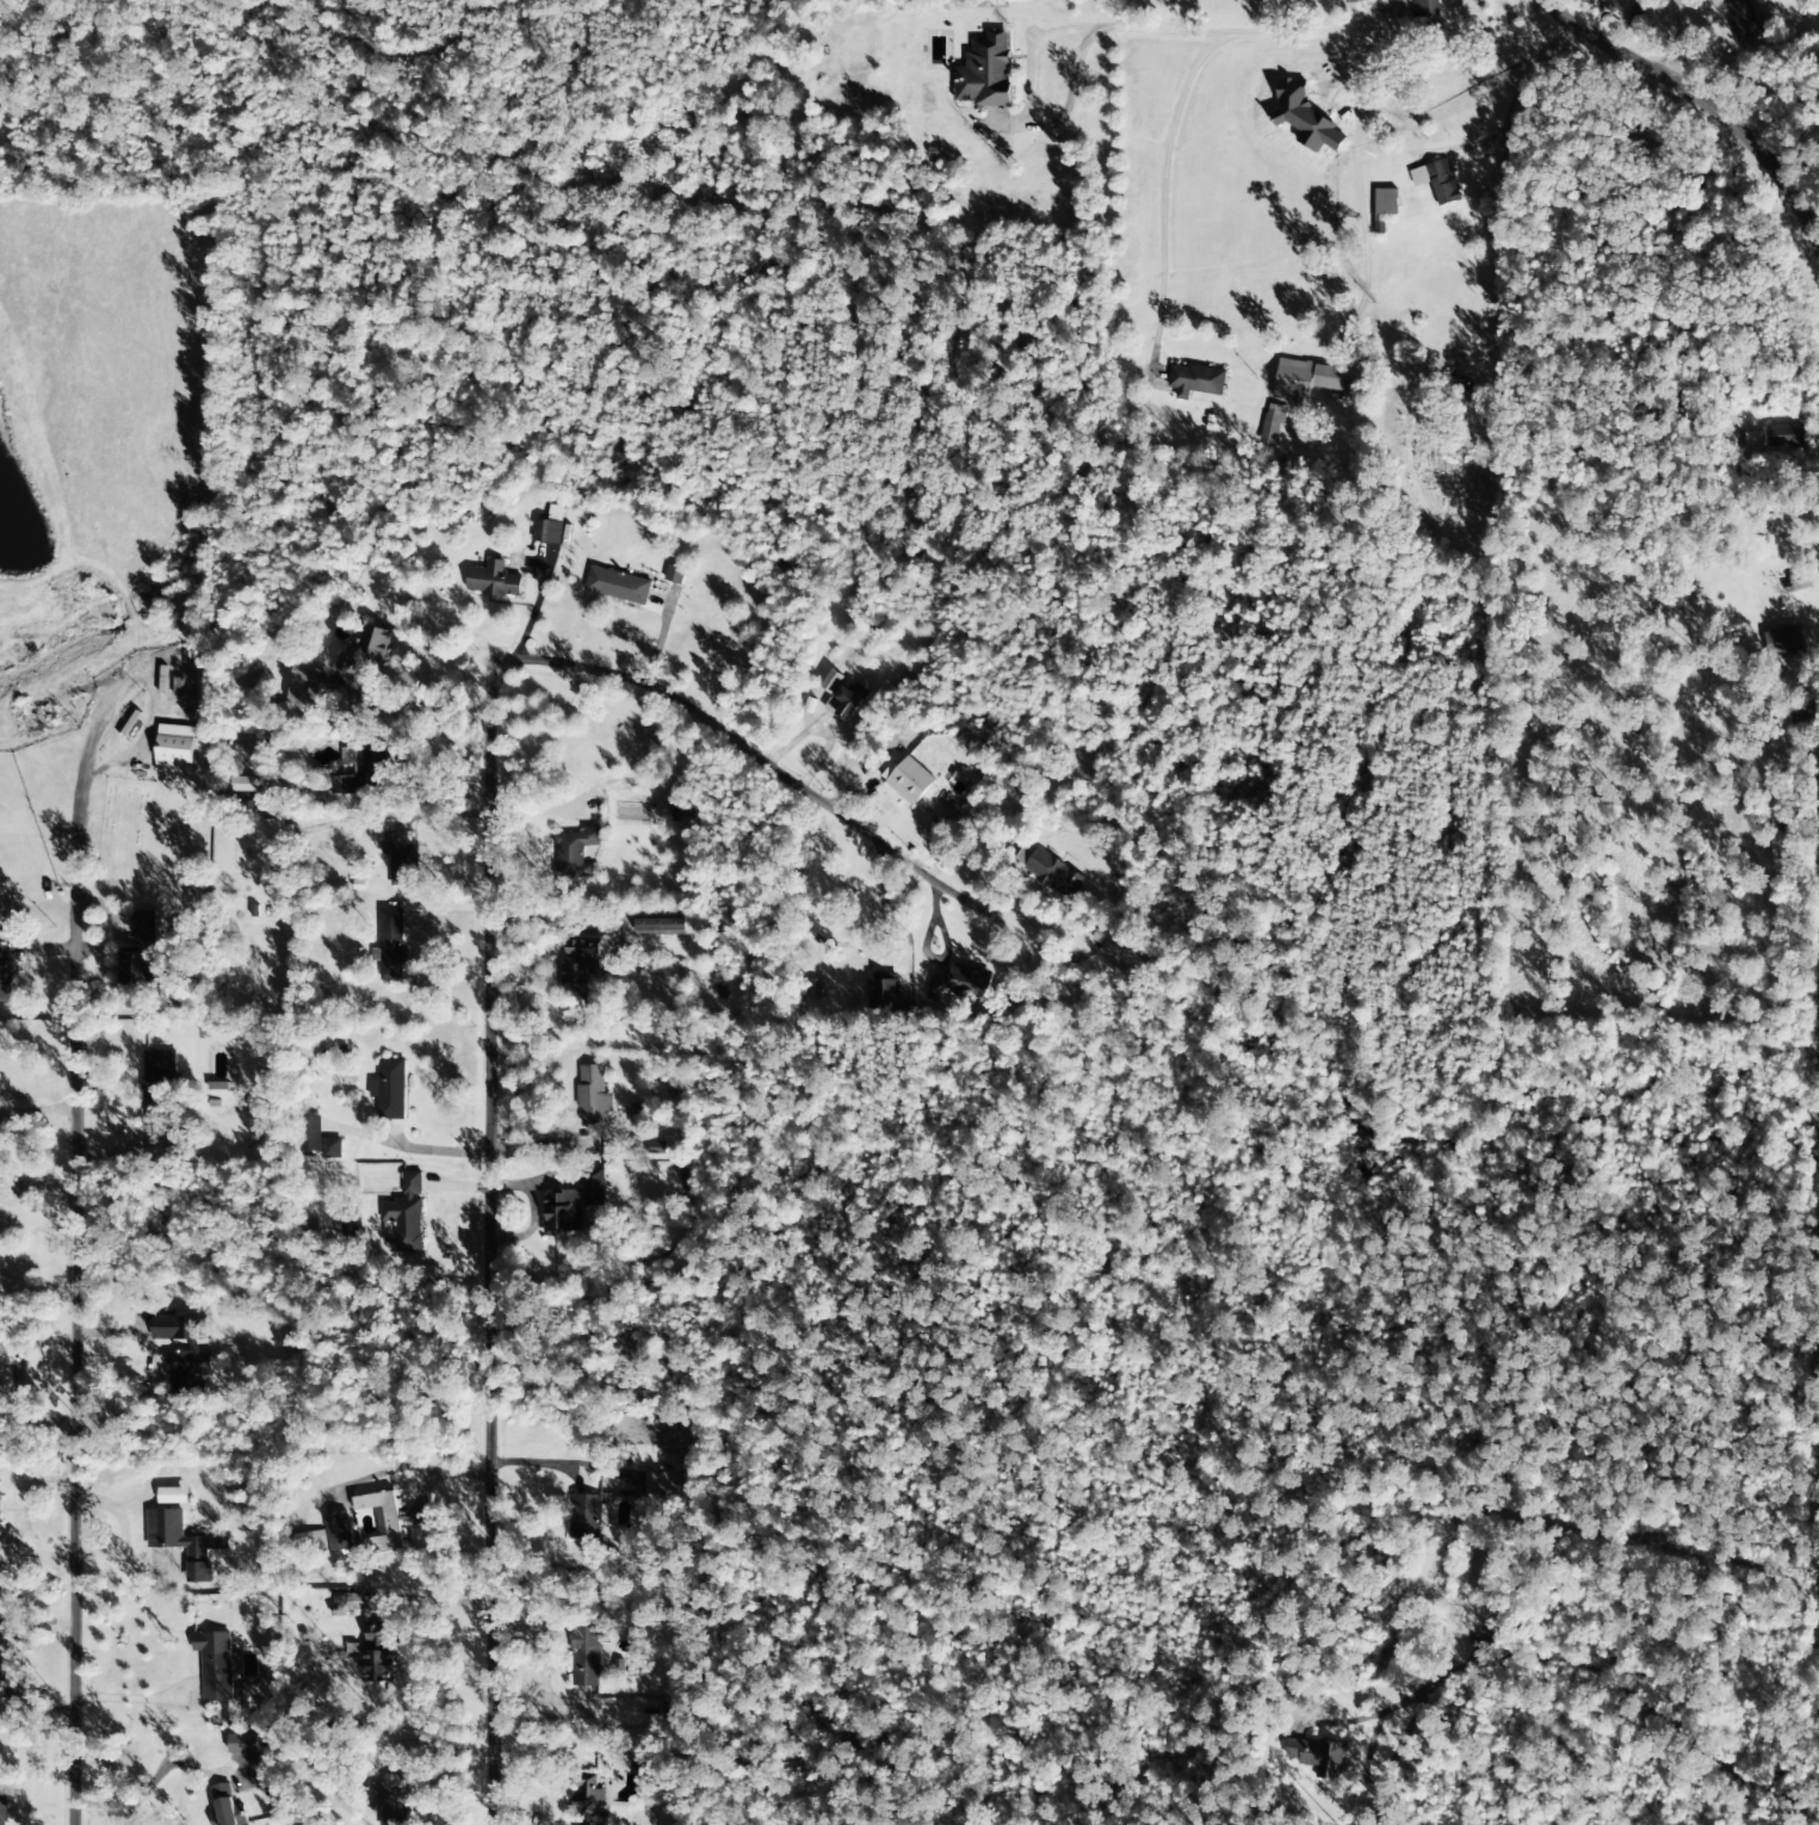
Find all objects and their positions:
building: (1356, 1)
building: (1423, 6)
building: (1744, 25)
road: (1670, 43)
road: (1034, 56)
road: (1198, 68)
building: (985, 72)
road: (1699, 97)
road: (1015, 124)
building: (1437, 181)
road: (1495, 197)
building: (1385, 203)
building: (1194, 381)
building: (1311, 381)
building: (1456, 388)
building: (1272, 425)
building: (549, 527)
building: (674, 575)
building: (493, 580)
building: (1794, 583)
building: (618, 586)
building: (1783, 642)
building: (365, 652)
building: (830, 681)
building: (175, 682)
building: (304, 689)
building: (846, 700)
building: (1800, 713)
road: (737, 738)
building: (175, 749)
building: (361, 763)
building: (910, 781)
building: (242, 785)
building: (680, 806)
building: (273, 829)
building: (575, 853)
building: (400, 859)
building: (1053, 874)
building: (662, 926)
building: (391, 946)
building: (1118, 953)
building: (138, 957)
building: (582, 966)
building: (960, 982)
building: (811, 989)
building: (883, 995)
building: (218, 1087)
building: (157, 1088)
building: (390, 1089)
building: (592, 1095)
building: (261, 1108)
building: (316, 1139)
building: (655, 1147)
building: (594, 1189)
building: (564, 1212)
building: (404, 1214)
road: (491, 1248)
building: (185, 1353)
road: (73, 1360)
building: (666, 1408)
building: (663, 1484)
building: (173, 1496)
building: (584, 1517)
building: (386, 1520)
building: (326, 1536)
building: (182, 1542)
building: (348, 1604)
building: (0, 1647)
building: (587, 1656)
building: (215, 1665)
road: (1591, 1672)
building: (243, 1744)
building: (1316, 1757)
building: (389, 1800)
building: (588, 1800)
building: (227, 1807)
building: (2, 1809)

